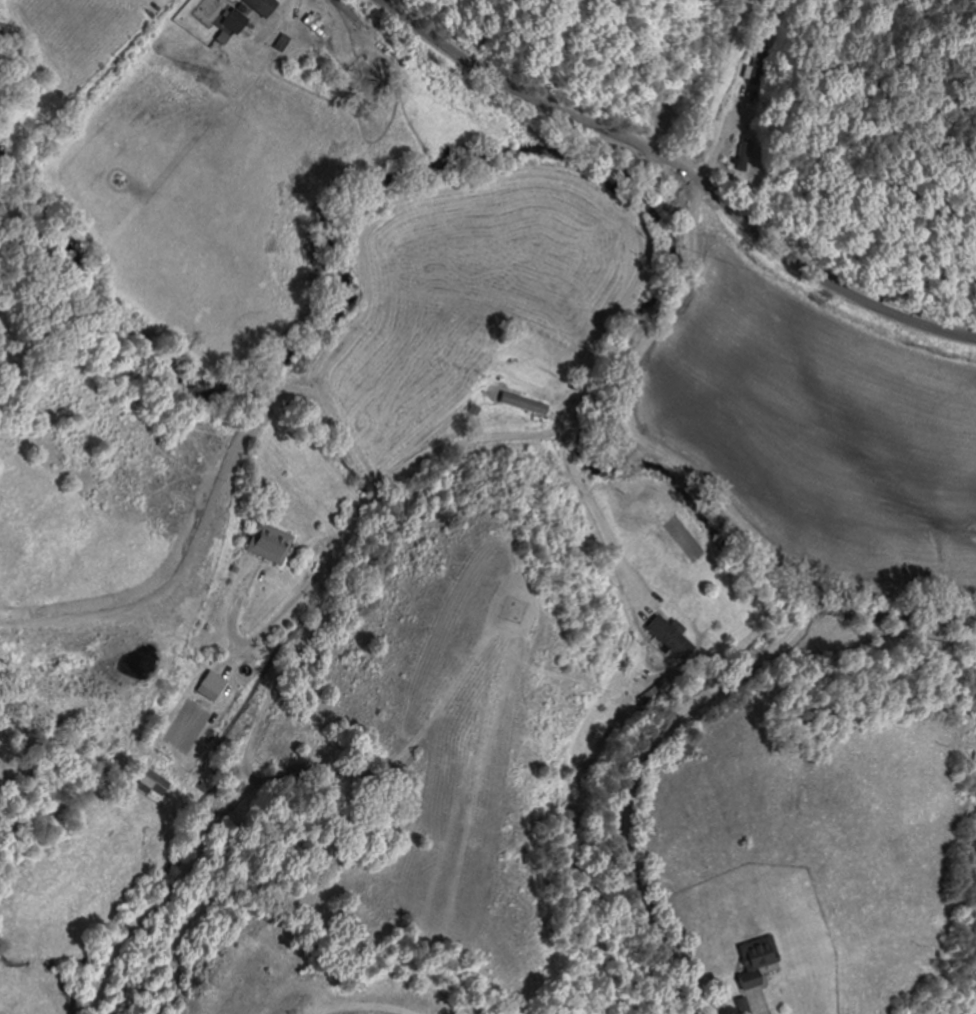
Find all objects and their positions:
building: (267, 6)
building: (239, 22)
building: (320, 28)
building: (374, 71)
building: (754, 75)
road: (535, 103)
road: (828, 281)
building: (519, 403)
building: (273, 544)
road: (809, 604)
building: (673, 639)
road: (881, 667)
building: (215, 687)
building: (762, 962)

